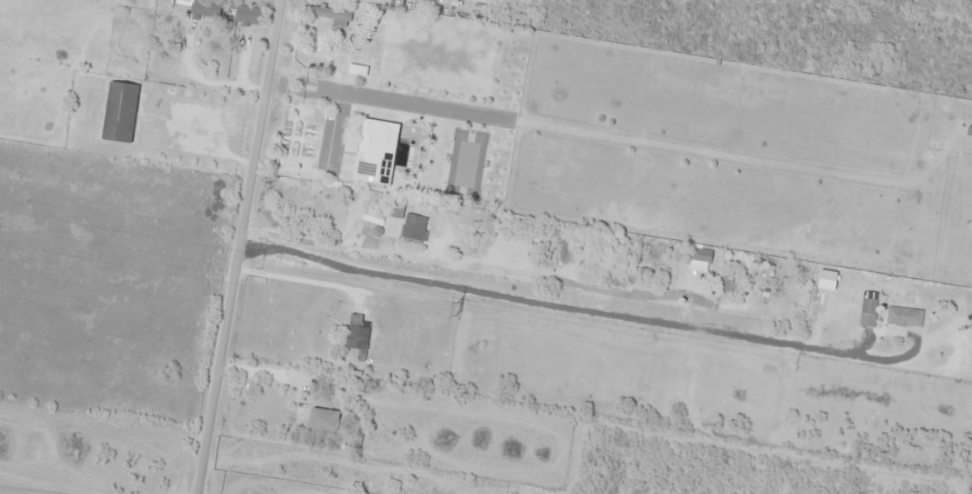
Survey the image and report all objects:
building: (206, 7)
building: (246, 13)
building: (328, 19)
building: (325, 91)
building: (120, 112)
building: (446, 224)
building: (415, 227)
road: (219, 246)
building: (700, 255)
road: (535, 287)
building: (772, 290)
building: (868, 306)
power tower: (456, 309)
building: (900, 316)
building: (357, 336)
building: (385, 365)
building: (323, 419)

